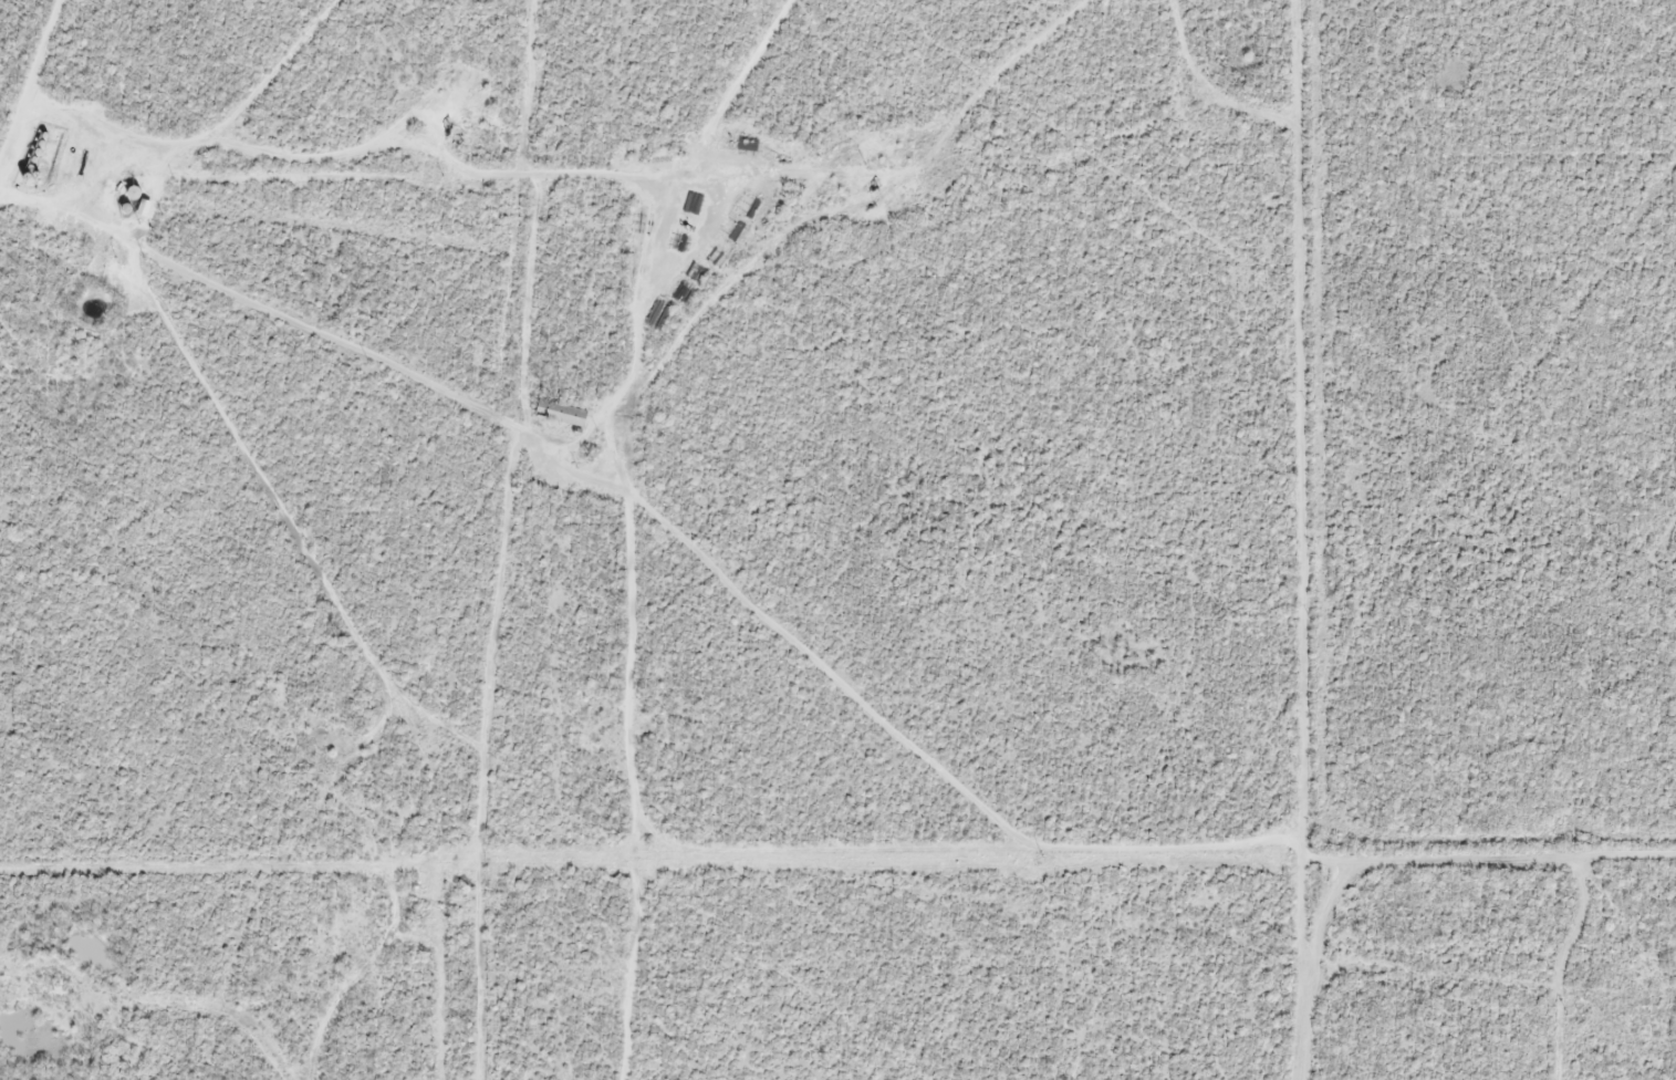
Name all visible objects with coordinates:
road: (79, 164)
road: (650, 521)

